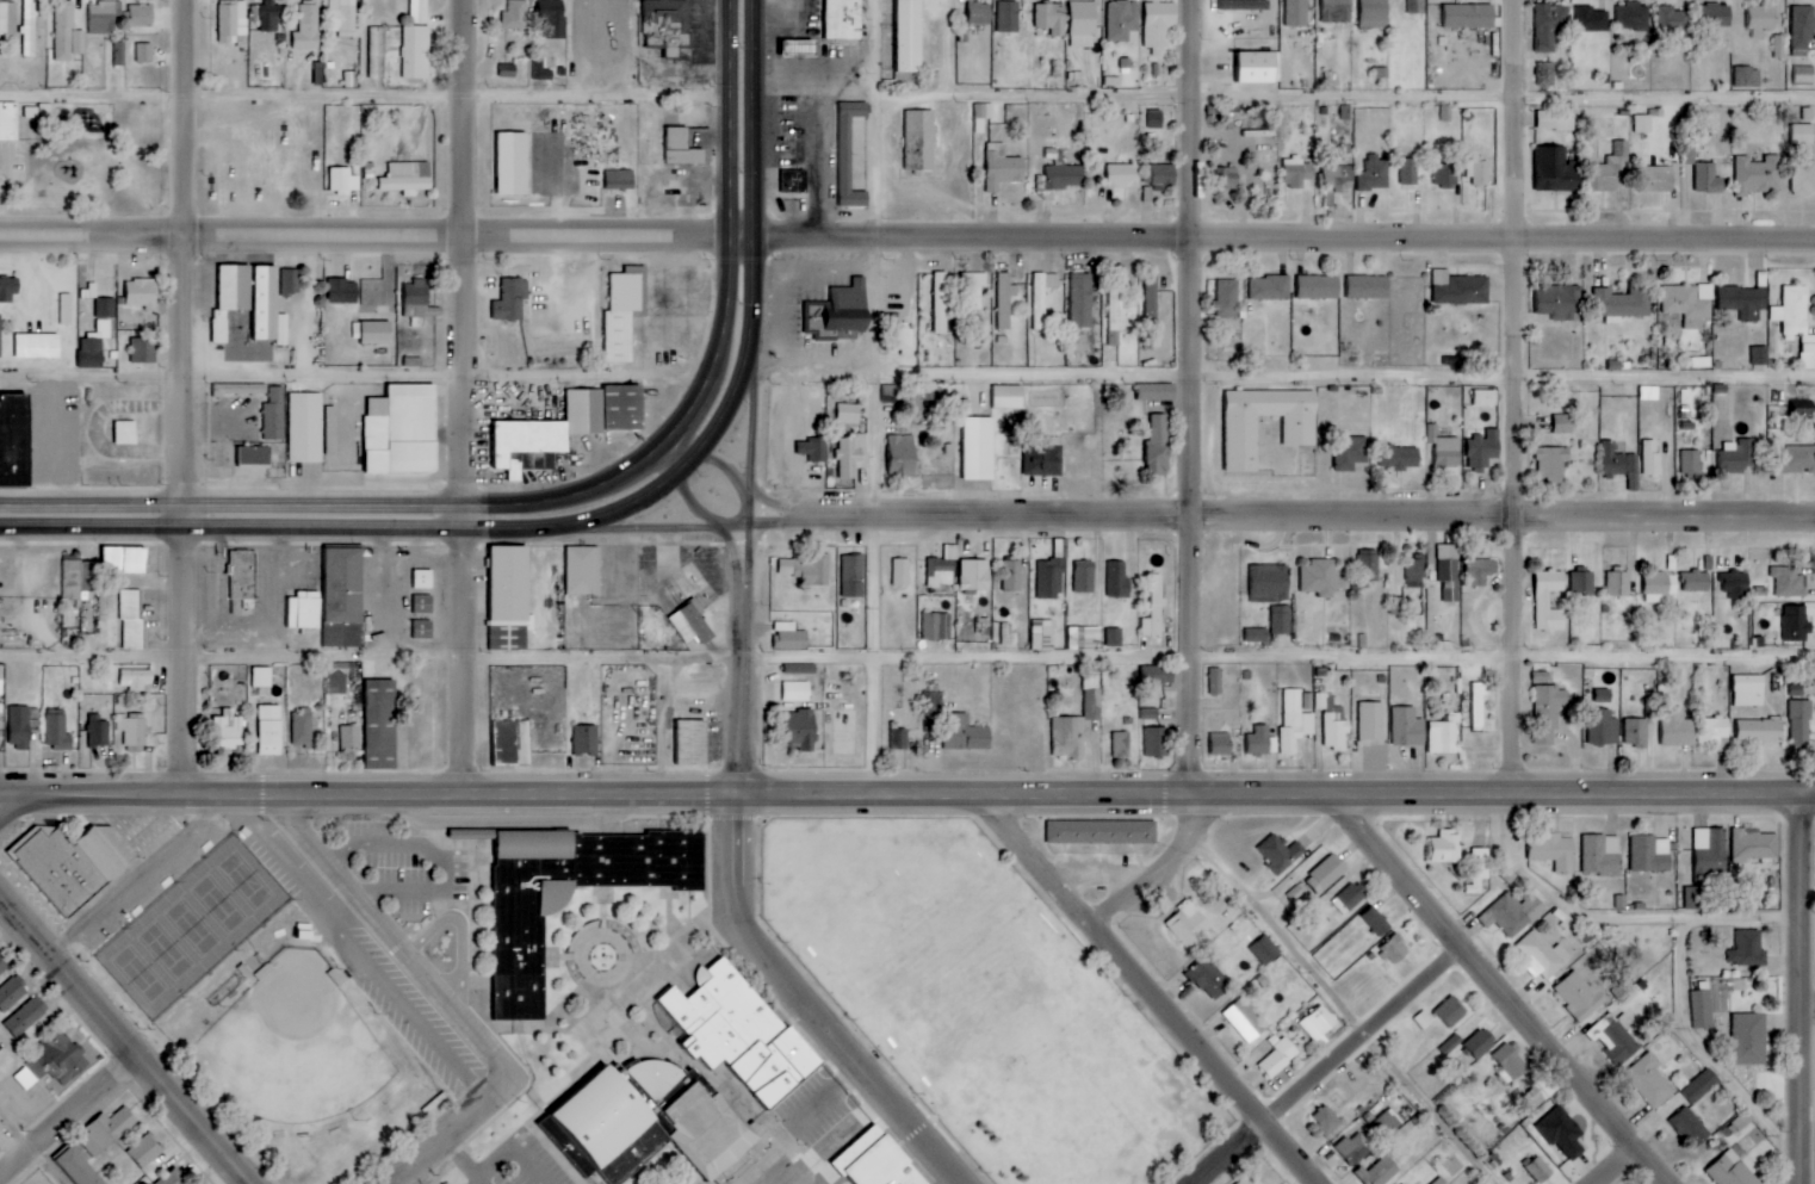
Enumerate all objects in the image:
building: (1245, 4)
building: (1416, 6)
building: (419, 11)
building: (1337, 11)
building: (980, 13)
building: (1296, 13)
building: (514, 14)
building: (1374, 14)
building: (141, 16)
building: (270, 16)
building: (1469, 16)
building: (1714, 16)
building: (104, 17)
building: (341, 17)
building: (1009, 17)
building: (1633, 17)
building: (7, 18)
building: (552, 18)
building: (1051, 18)
building: (1592, 19)
building: (1672, 19)
building: (1760, 19)
building: (841, 20)
building: (1123, 21)
building: (233, 23)
building: (1159, 23)
building: (1083, 24)
building: (667, 25)
building: (1549, 25)
building: (1802, 26)
building: (29, 27)
building: (308, 29)
building: (63, 32)
building: (907, 36)
building: (79, 42)
building: (799, 49)
building: (144, 52)
building: (377, 52)
building: (413, 52)
building: (119, 54)
building: (1257, 67)
building: (543, 69)
building: (508, 70)
building: (317, 72)
building: (1381, 73)
building: (1547, 73)
building: (1803, 75)
building: (1748, 78)
building: (349, 80)
road: (1283, 98)
road: (364, 99)
building: (984, 111)
road: (754, 118)
building: (1157, 118)
road: (1509, 118)
road: (460, 119)
road: (729, 119)
road: (873, 119)
building: (1556, 119)
road: (181, 120)
road: (1187, 120)
building: (8, 122)
building: (1643, 123)
building: (1802, 134)
building: (919, 141)
building: (677, 148)
building: (849, 154)
building: (513, 163)
building: (1003, 168)
building: (1615, 169)
building: (1556, 171)
building: (1297, 172)
building: (1410, 172)
building: (1479, 172)
building: (1375, 174)
building: (1123, 175)
building: (1160, 175)
building: (1447, 175)
building: (1758, 175)
building: (408, 178)
building: (1059, 178)
building: (1227, 178)
building: (1338, 178)
building: (1662, 178)
building: (1708, 179)
building: (617, 180)
building: (1803, 180)
building: (342, 181)
building: (794, 181)
road: (907, 240)
building: (291, 281)
building: (1270, 287)
building: (1319, 287)
building: (1369, 287)
building: (1460, 289)
building: (8, 290)
building: (972, 290)
building: (342, 291)
building: (142, 293)
building: (230, 298)
building: (1041, 298)
building: (1153, 298)
building: (1227, 298)
building: (416, 299)
building: (1004, 299)
building: (1082, 299)
building: (512, 300)
building: (1743, 300)
building: (1560, 302)
building: (940, 303)
building: (1623, 303)
building: (1690, 303)
building: (105, 308)
building: (66, 309)
building: (840, 314)
building: (621, 317)
building: (1796, 322)
road: (725, 323)
building: (0, 333)
building: (373, 333)
road: (749, 335)
building: (899, 341)
building: (94, 346)
building: (35, 347)
building: (143, 352)
building: (1760, 355)
road: (1283, 379)
road: (339, 382)
building: (1157, 392)
building: (1649, 393)
building: (900, 395)
building: (1008, 397)
building: (1485, 397)
building: (1801, 405)
building: (607, 409)
building: (848, 414)
building: (274, 415)
building: (1563, 423)
building: (304, 427)
road: (749, 428)
building: (402, 430)
building: (1300, 430)
building: (125, 433)
building: (14, 440)
building: (1158, 444)
building: (528, 446)
building: (813, 448)
building: (978, 448)
building: (1483, 448)
road: (658, 452)
building: (1350, 452)
building: (255, 457)
building: (851, 457)
building: (903, 457)
building: (1043, 457)
road: (710, 458)
building: (1401, 458)
building: (1652, 459)
building: (1797, 459)
building: (1691, 461)
building: (1551, 464)
building: (1621, 464)
road: (665, 483)
road: (774, 503)
road: (304, 507)
road: (699, 514)
road: (1309, 514)
road: (1510, 514)
road: (463, 515)
road: (179, 516)
road: (700, 528)
road: (299, 531)
road: (1187, 537)
building: (125, 562)
building: (1369, 568)
building: (942, 569)
building: (806, 570)
building: (581, 571)
building: (1449, 571)
building: (900, 572)
building: (1416, 572)
building: (975, 575)
building: (1012, 576)
building: (853, 577)
building: (1084, 577)
building: (1049, 578)
building: (1320, 578)
building: (242, 579)
building: (423, 579)
building: (1119, 581)
road: (871, 582)
building: (1696, 582)
building: (1789, 582)
building: (1270, 583)
building: (1618, 583)
building: (1582, 584)
building: (1737, 584)
building: (1660, 588)
building: (343, 599)
building: (1550, 601)
building: (423, 605)
building: (1398, 607)
building: (1154, 609)
building: (304, 610)
building: (132, 619)
building: (1281, 620)
building: (692, 624)
building: (1797, 624)
building: (936, 626)
building: (422, 630)
building: (1042, 636)
building: (1257, 636)
building: (789, 637)
building: (1084, 638)
building: (1115, 638)
road: (906, 656)
building: (1154, 674)
building: (1541, 676)
building: (261, 677)
building: (135, 678)
building: (1, 681)
building: (1215, 681)
building: (337, 684)
building: (1748, 690)
building: (795, 692)
building: (934, 703)
building: (1479, 706)
building: (1548, 712)
building: (1151, 713)
building: (1077, 723)
building: (1295, 723)
building: (1333, 723)
building: (1371, 723)
building: (380, 725)
building: (1801, 725)
building: (19, 727)
building: (1407, 727)
building: (1603, 727)
building: (302, 729)
building: (1675, 729)
building: (99, 731)
building: (132, 731)
building: (270, 731)
building: (799, 731)
building: (1759, 731)
building: (1636, 732)
building: (57, 733)
building: (1714, 733)
building: (230, 734)
building: (965, 734)
building: (898, 738)
building: (1443, 738)
building: (351, 739)
building: (587, 740)
building: (1158, 742)
building: (1260, 742)
building: (513, 743)
building: (693, 743)
building: (1121, 744)
building: (1221, 744)
road: (907, 792)
road: (12, 804)
building: (1102, 832)
building: (1755, 845)
building: (1447, 848)
building: (1281, 853)
building: (1554, 853)
building: (1710, 853)
building: (1650, 854)
building: (1602, 855)
building: (67, 866)
building: (1479, 870)
building: (1326, 874)
road: (1142, 876)
road: (142, 878)
building: (571, 893)
building: (1297, 893)
road: (733, 894)
building: (1695, 898)
building: (1348, 899)
road: (1807, 900)
building: (1516, 913)
road: (1608, 918)
building: (1376, 922)
building: (1189, 924)
park: (190, 926)
road: (390, 937)
building: (1748, 949)
building: (1266, 950)
building: (1395, 950)
building: (1542, 956)
building: (2, 966)
building: (1209, 978)
road: (1153, 988)
road: (1504, 990)
road: (1798, 990)
building: (10, 993)
building: (1579, 996)
road: (1346, 1006)
road: (1807, 1008)
building: (1703, 1010)
building: (1451, 1011)
building: (26, 1016)
building: (1246, 1019)
building: (1319, 1024)
building: (741, 1033)
building: (1615, 1037)
road: (125, 1040)
building: (1751, 1040)
building: (1451, 1043)
building: (1479, 1043)
park: (289, 1044)
road: (1703, 1050)
building: (1277, 1056)
building: (58, 1058)
building: (1510, 1064)
road: (1336, 1066)
building: (653, 1077)
building: (25, 1078)
building: (1649, 1081)
building: (1701, 1086)
road: (1805, 1112)
road: (70, 1114)
building: (1327, 1120)
building: (0, 1122)
building: (1389, 1122)
building: (1742, 1122)
building: (606, 1128)
building: (1690, 1128)
road: (452, 1129)
building: (109, 1130)
building: (1562, 1133)
building: (720, 1139)
road: (847, 1141)
building: (1356, 1148)
road: (30, 1149)
building: (145, 1151)
road: (463, 1161)
building: (878, 1161)
road: (1625, 1167)
building: (78, 1168)
building: (1538, 1170)
building: (1733, 1170)
building: (1381, 1171)
building: (169, 1179)
building: (1251, 1179)
building: (1441, 1180)
building: (1408, 1183)

